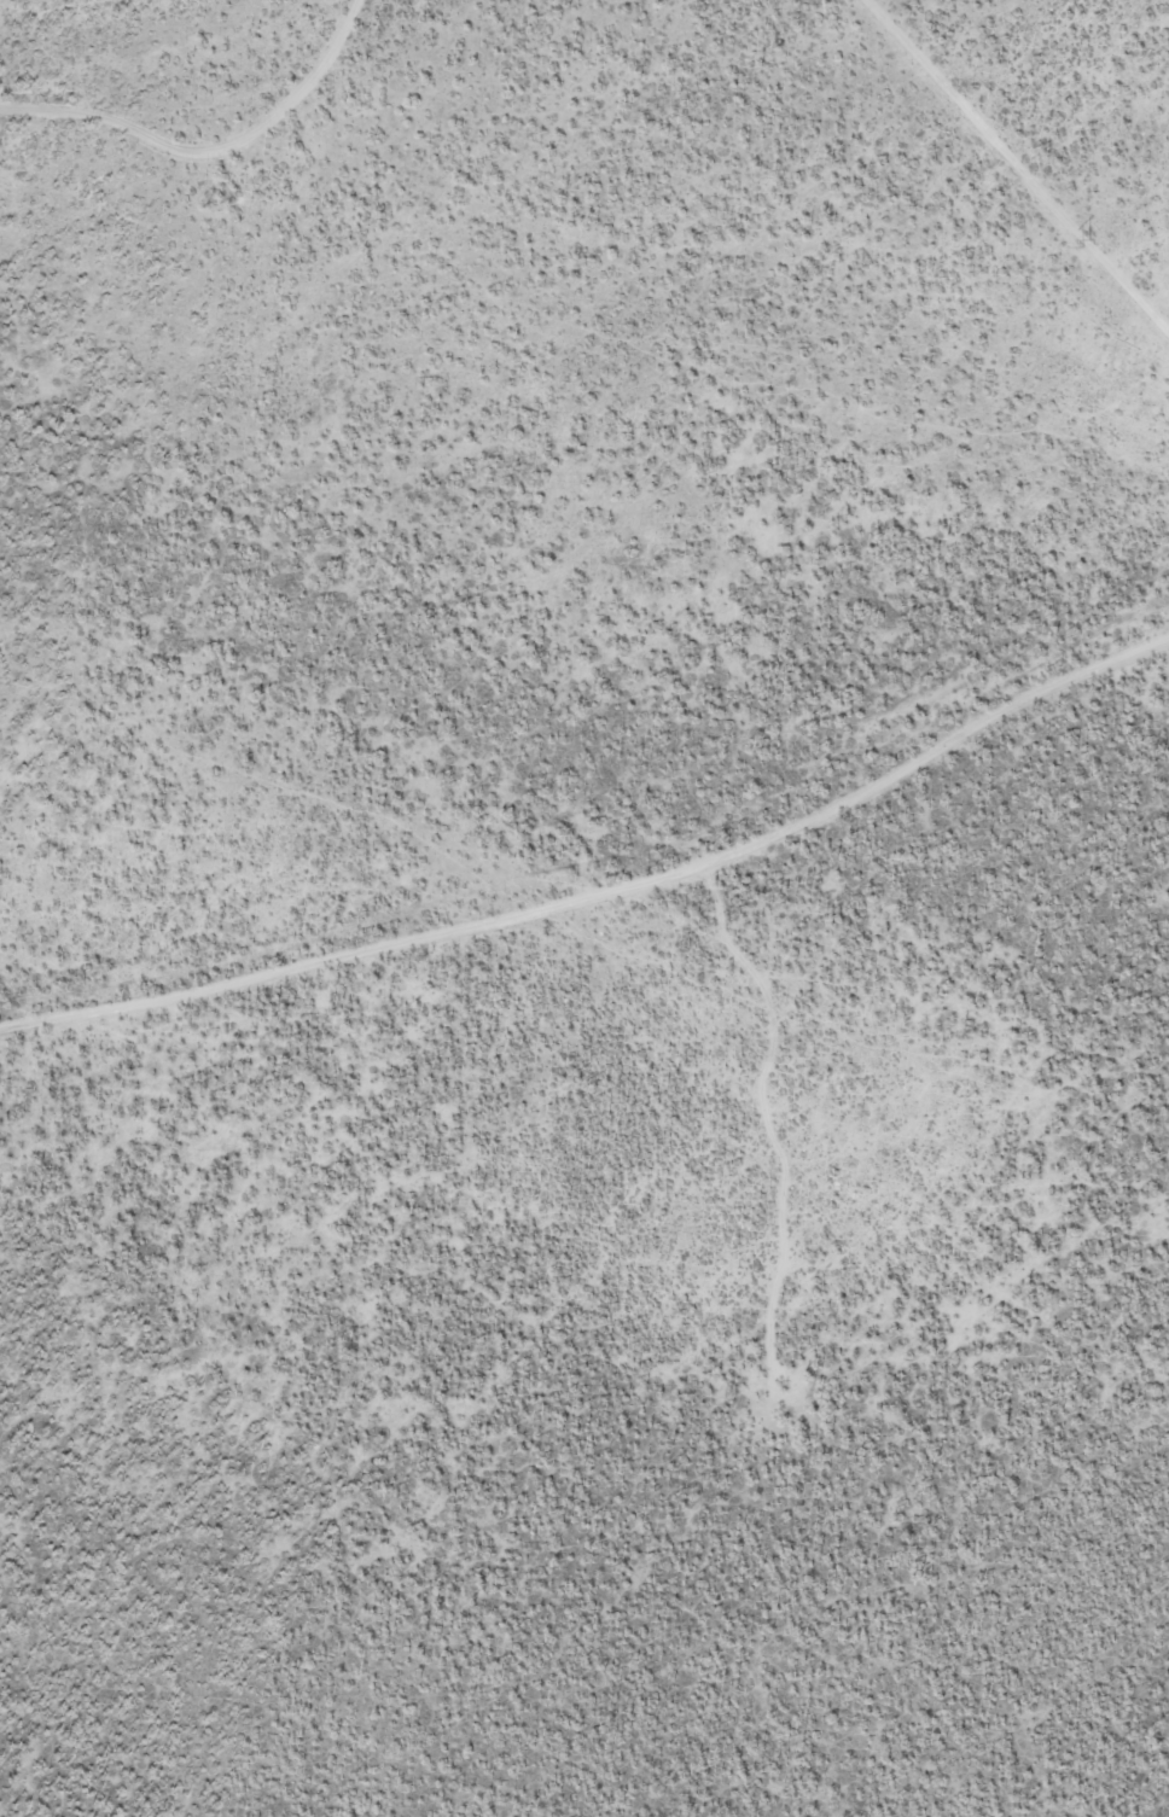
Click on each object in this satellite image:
road: (210, 146)
road: (1019, 164)
power tower: (1083, 241)
road: (605, 891)
road: (768, 1120)

